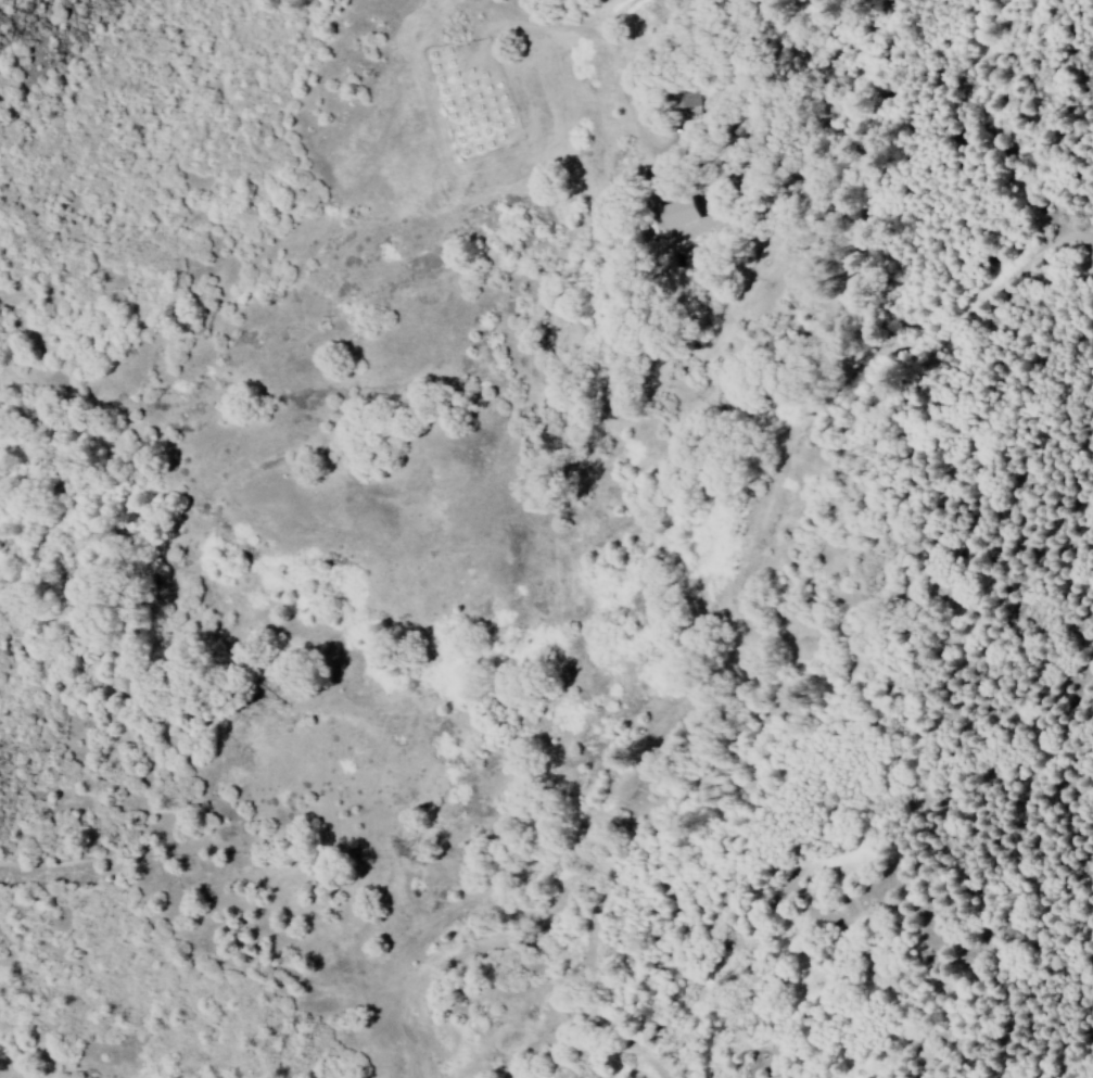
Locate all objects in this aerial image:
road: (866, 322)
road: (1008, 901)

